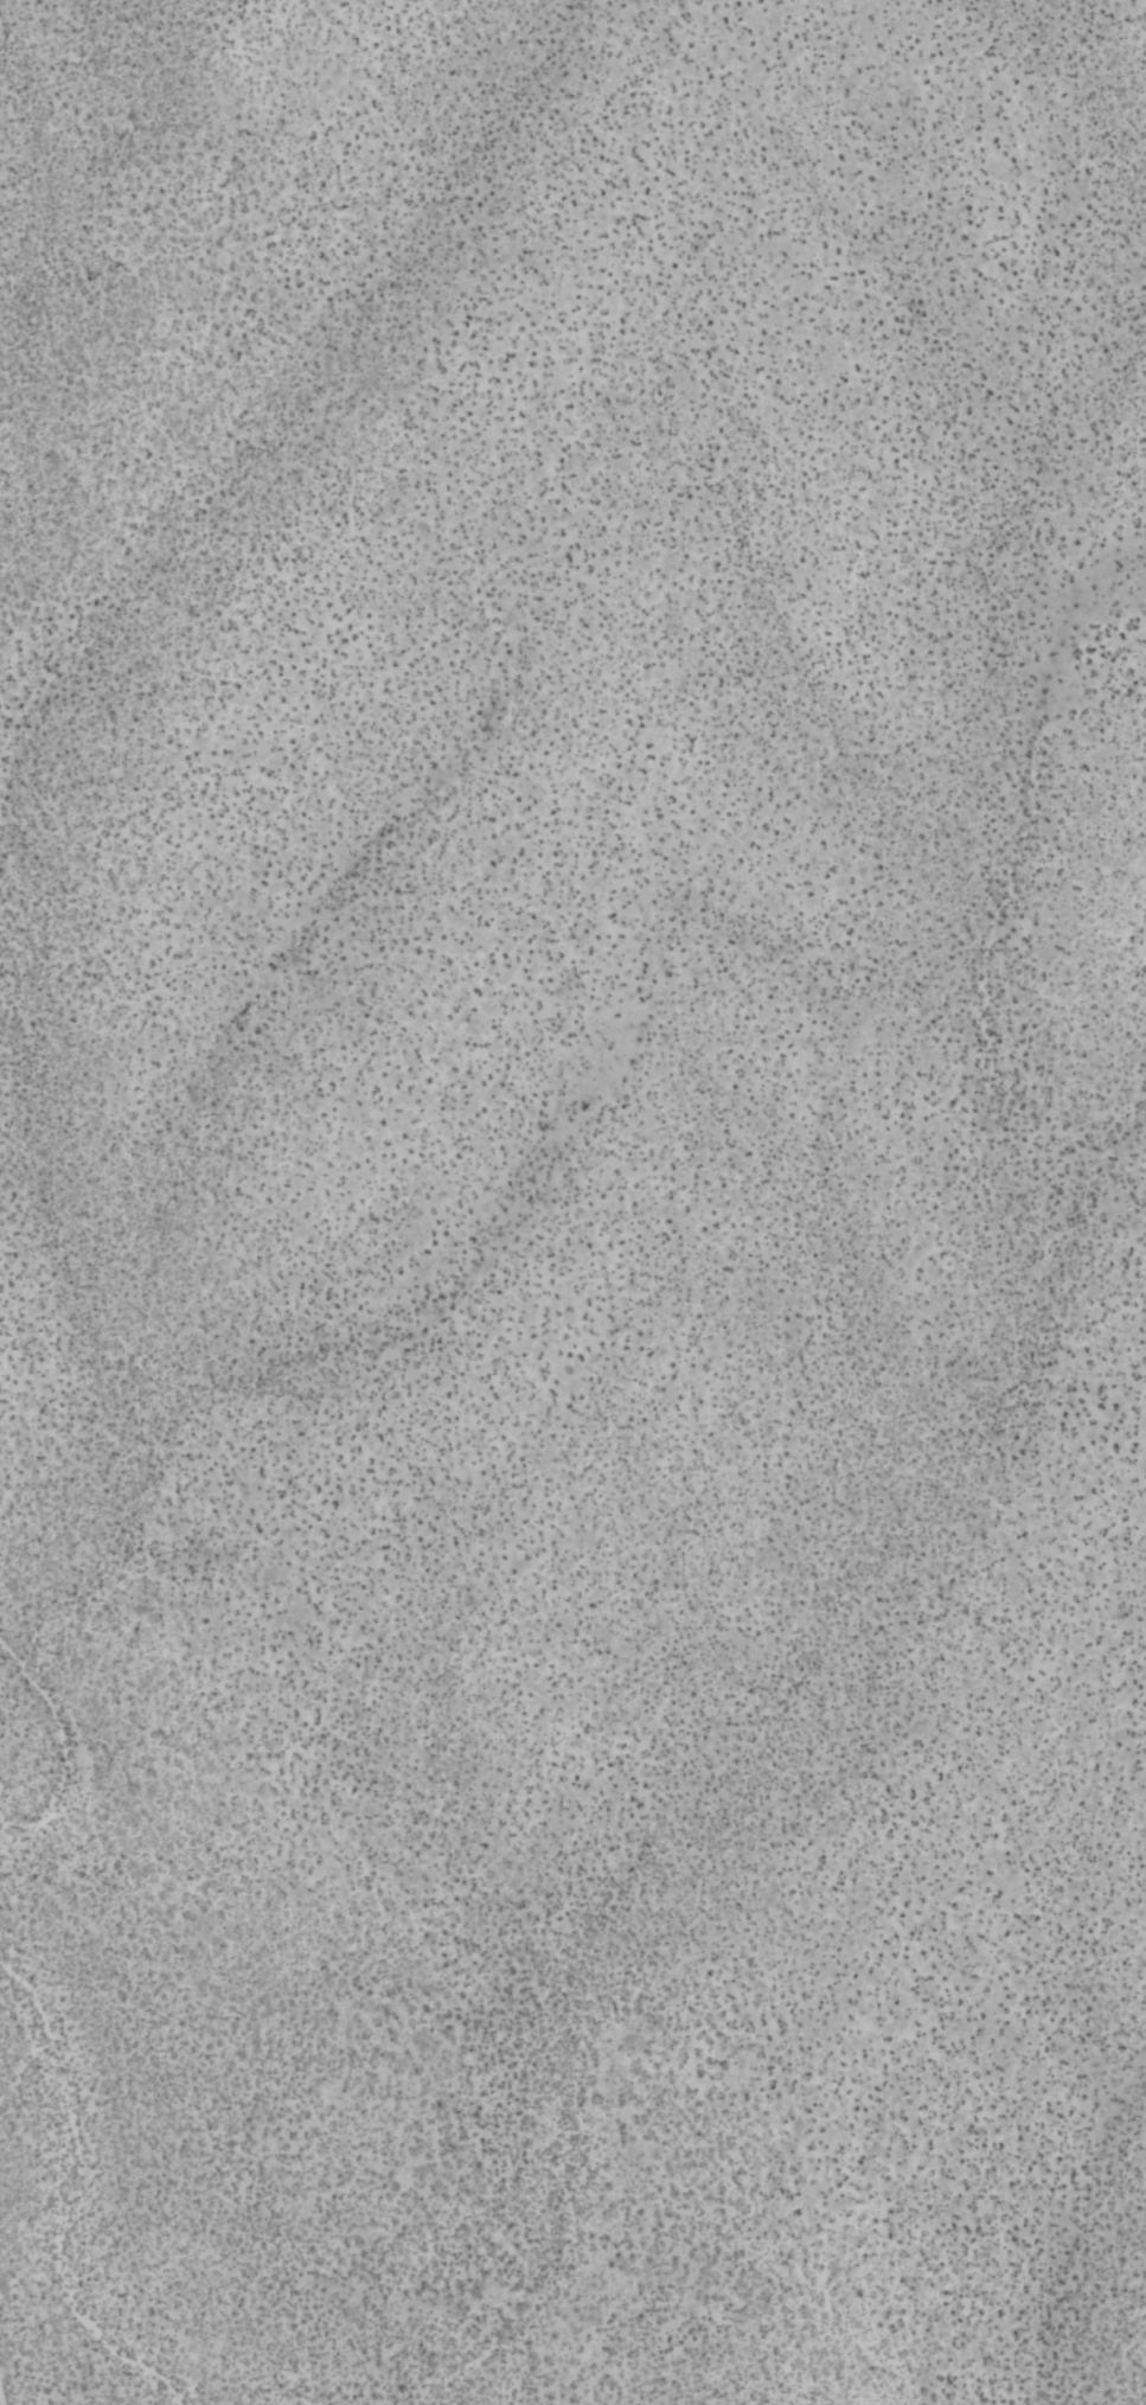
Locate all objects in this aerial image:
road: (7, 2372)

